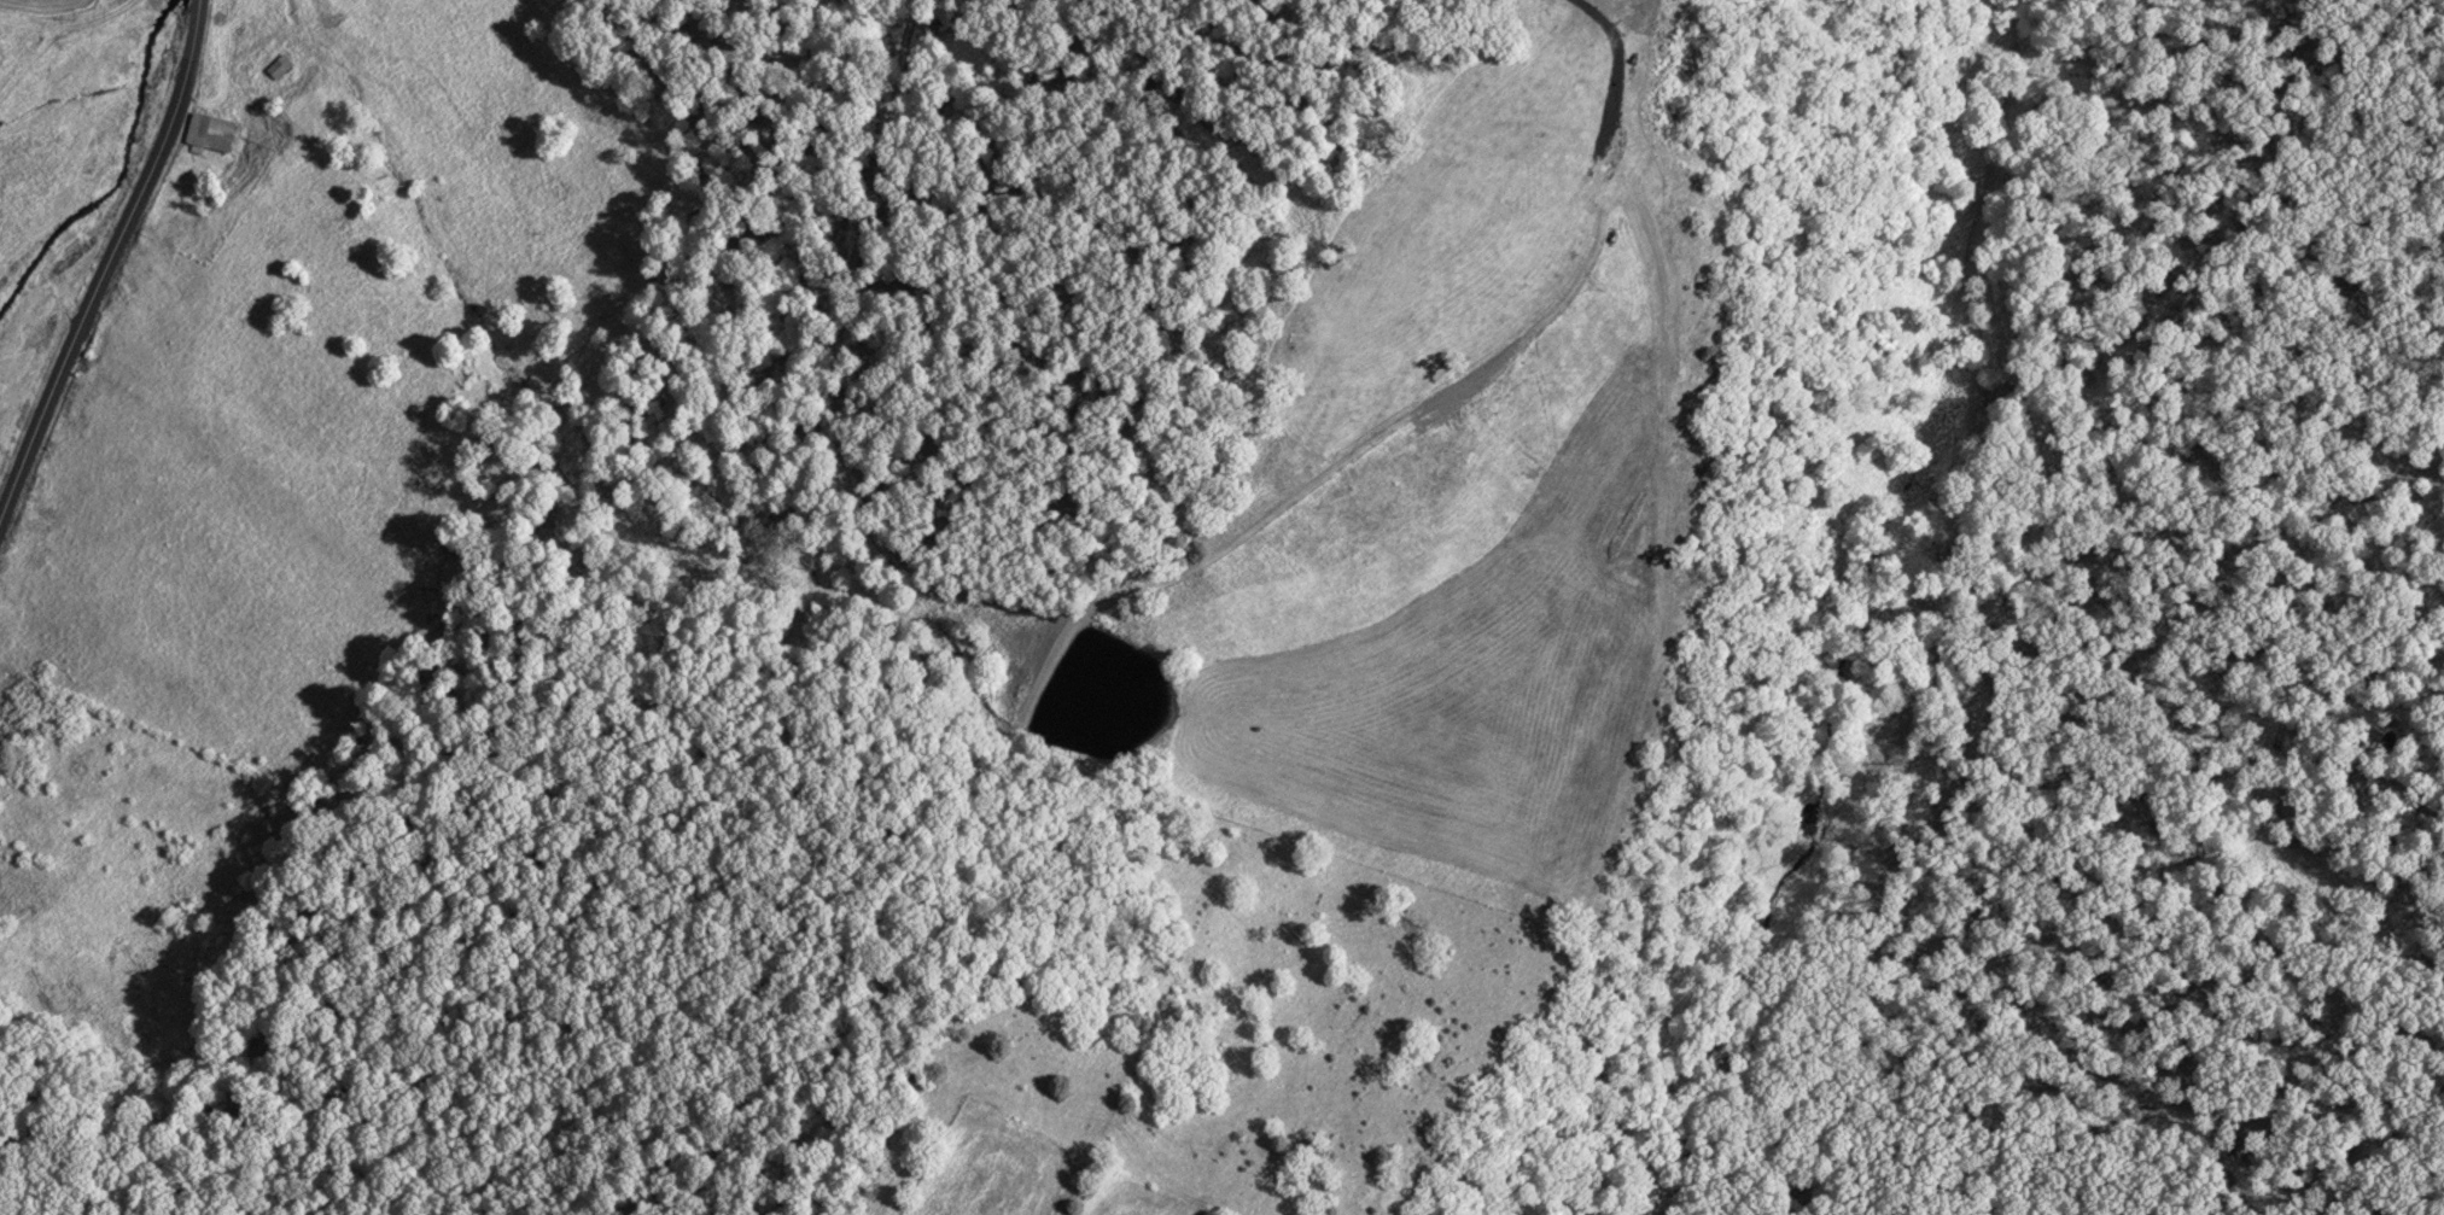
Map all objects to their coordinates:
building: (279, 66)
building: (209, 133)
road: (111, 270)

